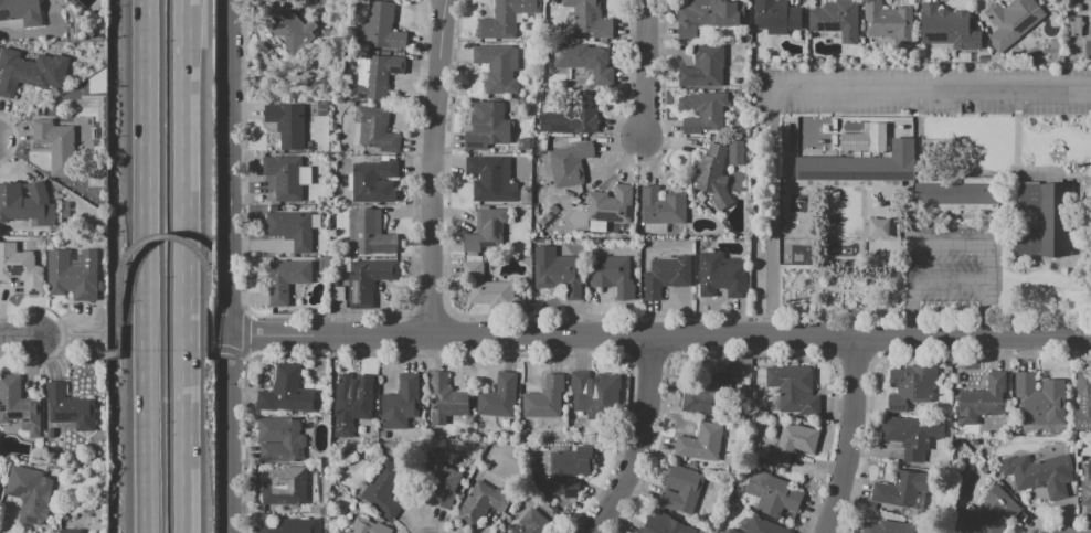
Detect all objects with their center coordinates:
building: (21, 12)
building: (775, 17)
building: (506, 18)
building: (707, 18)
building: (590, 19)
building: (888, 20)
building: (836, 21)
building: (1013, 21)
building: (382, 29)
building: (946, 29)
building: (290, 31)
building: (1090, 35)
building: (582, 61)
building: (703, 66)
building: (498, 67)
road: (644, 67)
building: (30, 71)
building: (379, 76)
road: (764, 93)
road: (931, 93)
building: (702, 111)
building: (575, 116)
building: (286, 125)
building: (487, 126)
building: (378, 130)
building: (865, 138)
building: (56, 146)
road: (1017, 158)
building: (859, 166)
road: (433, 168)
building: (564, 168)
building: (712, 175)
road: (1073, 177)
building: (284, 178)
building: (492, 179)
building: (374, 181)
building: (955, 194)
building: (701, 198)
building: (23, 202)
building: (661, 206)
building: (601, 207)
road: (771, 214)
building: (1044, 220)
building: (616, 225)
building: (878, 226)
building: (655, 227)
building: (289, 230)
building: (485, 231)
building: (369, 233)
road: (166, 236)
road: (952, 241)
road: (148, 266)
road: (188, 266)
road: (225, 266)
building: (22, 270)
building: (73, 275)
building: (559, 275)
building: (613, 275)
building: (666, 275)
building: (720, 275)
building: (286, 279)
building: (368, 280)
building: (487, 286)
road: (951, 286)
road: (912, 288)
road: (989, 288)
road: (245, 332)
road: (87, 335)
road: (18, 337)
road: (658, 337)
road: (229, 350)
road: (210, 354)
building: (909, 385)
building: (793, 388)
building: (286, 392)
building: (595, 392)
building: (498, 396)
building: (353, 397)
building: (544, 397)
building: (445, 399)
building: (1040, 399)
building: (706, 401)
building: (981, 401)
building: (401, 402)
building: (1082, 402)
building: (18, 406)
building: (70, 407)
road: (847, 435)
building: (910, 436)
building: (278, 439)
road: (642, 440)
building: (793, 441)
building: (698, 444)
building: (568, 470)
building: (1039, 473)
building: (442, 481)
building: (1085, 487)
building: (287, 488)
building: (384, 490)
building: (681, 490)
building: (900, 490)
building: (30, 493)
building: (772, 494)
building: (481, 504)
building: (991, 513)
building: (532, 523)
building: (663, 524)
building: (758, 525)
building: (290, 526)
building: (368, 526)
building: (888, 527)
building: (70, 531)

